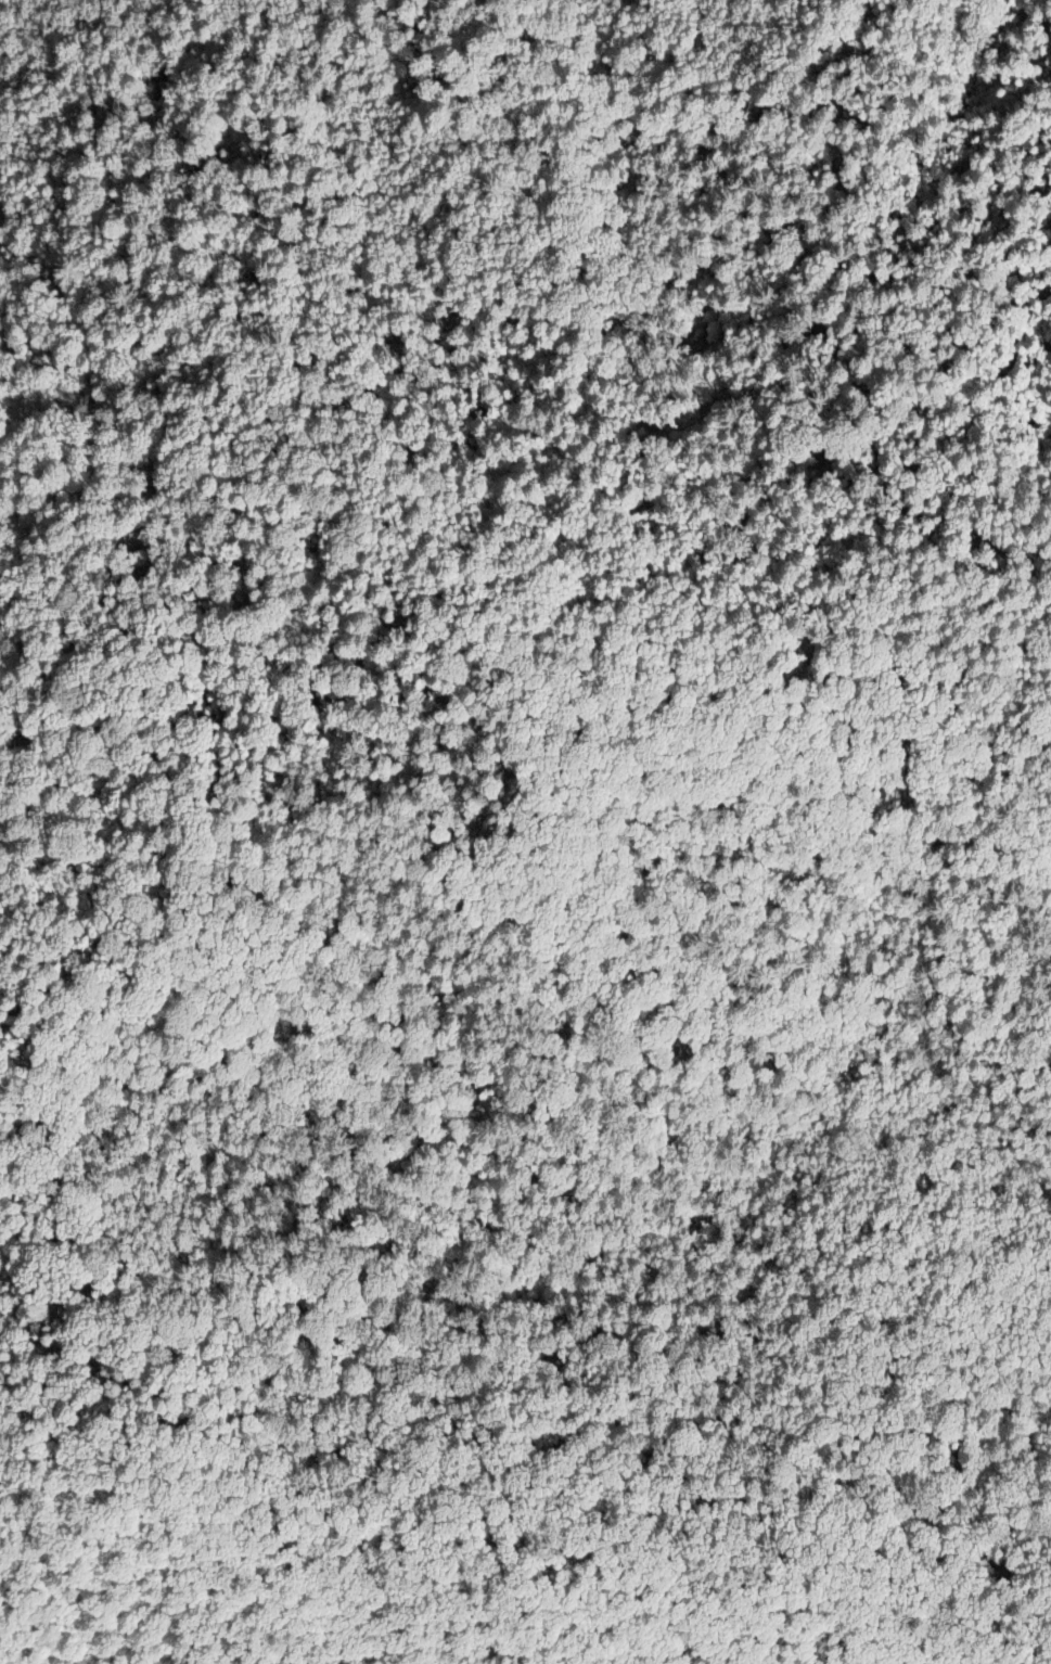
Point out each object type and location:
road: (77, 46)

